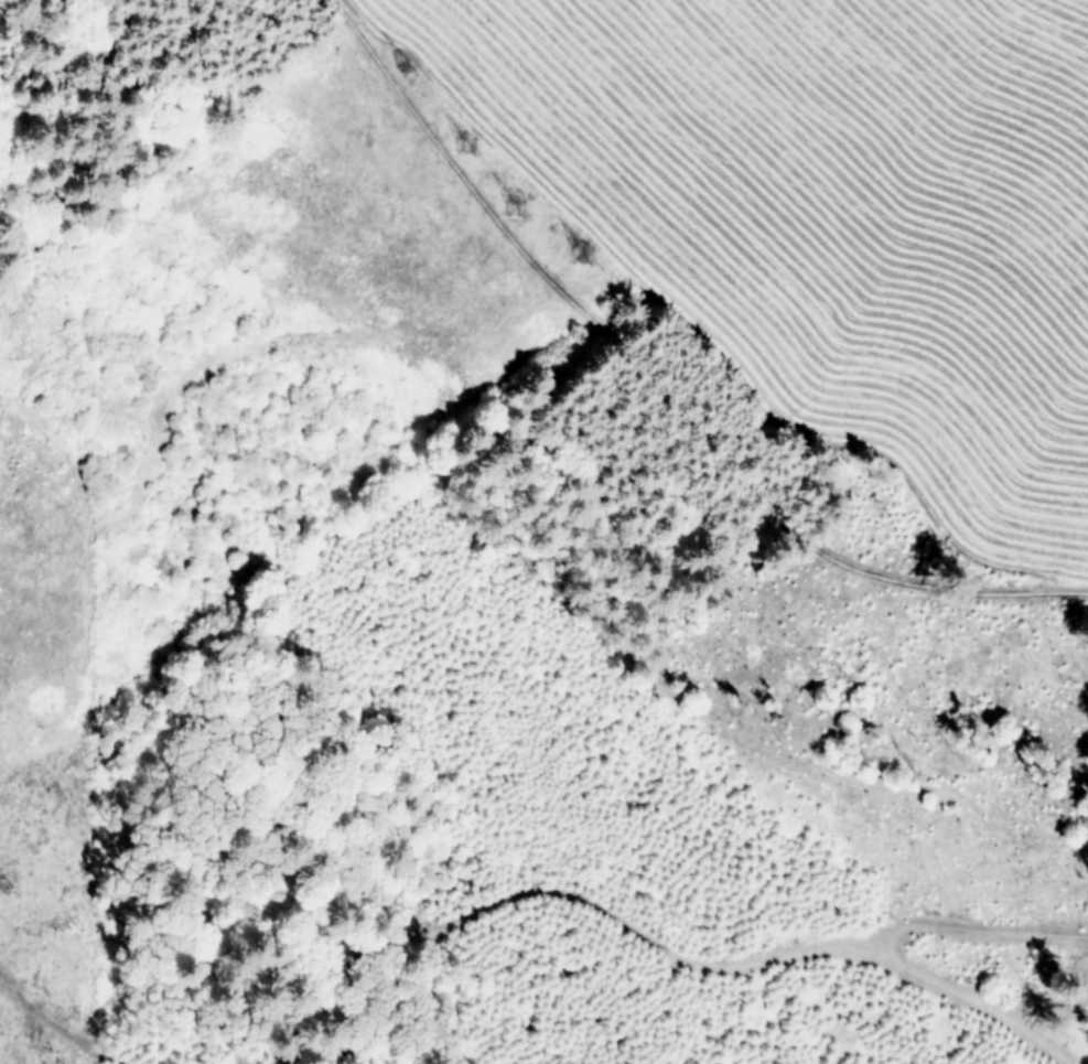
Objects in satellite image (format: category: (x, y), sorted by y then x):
power tower: (405, 63)
power tower: (465, 141)
power tower: (516, 204)
crop: (816, 218)
power tower: (578, 254)

